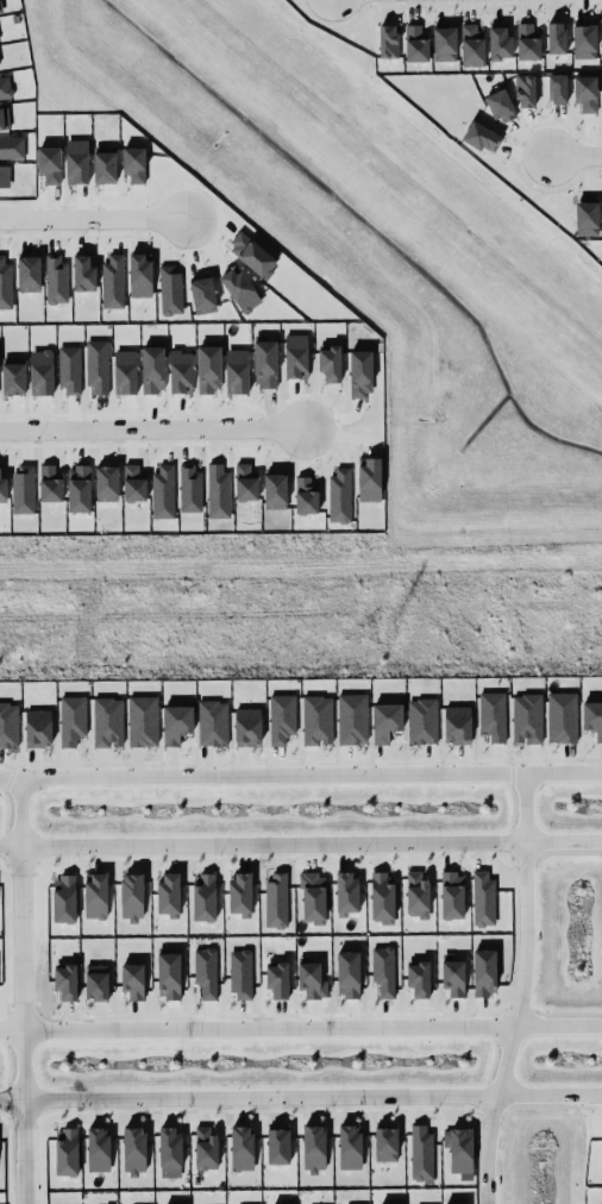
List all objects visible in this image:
building: (556, 37)
building: (584, 39)
building: (601, 39)
building: (388, 40)
building: (528, 42)
building: (415, 43)
building: (445, 43)
building: (500, 43)
building: (472, 44)
building: (5, 87)
building: (558, 88)
building: (526, 89)
building: (585, 92)
building: (501, 105)
building: (4, 118)
building: (481, 136)
building: (12, 146)
road: (576, 151)
building: (77, 161)
building: (50, 163)
building: (105, 163)
building: (134, 164)
building: (5, 175)
building: (587, 218)
road: (95, 221)
building: (252, 253)
building: (29, 272)
building: (83, 272)
building: (139, 274)
building: (56, 277)
building: (113, 281)
building: (6, 282)
building: (170, 288)
building: (240, 289)
building: (203, 294)
building: (296, 355)
building: (330, 362)
building: (265, 363)
building: (98, 364)
building: (209, 366)
building: (152, 368)
building: (70, 369)
building: (237, 370)
building: (42, 371)
building: (125, 371)
building: (181, 371)
building: (360, 371)
building: (13, 375)
road: (150, 432)
building: (369, 478)
building: (107, 482)
building: (245, 482)
building: (50, 483)
building: (133, 483)
building: (2, 487)
building: (190, 487)
building: (79, 488)
building: (24, 489)
building: (163, 490)
building: (218, 490)
building: (275, 490)
building: (306, 494)
building: (340, 495)
power tower: (395, 628)
building: (493, 715)
building: (562, 716)
building: (592, 716)
building: (282, 717)
building: (352, 717)
building: (527, 717)
building: (73, 719)
building: (316, 719)
building: (108, 720)
building: (143, 720)
building: (422, 720)
building: (385, 721)
building: (176, 722)
building: (213, 722)
building: (8, 723)
building: (457, 723)
building: (247, 726)
building: (38, 727)
road: (301, 788)
road: (300, 839)
building: (346, 892)
building: (169, 893)
building: (240, 893)
building: (418, 893)
building: (452, 893)
building: (95, 895)
building: (132, 896)
building: (203, 896)
building: (64, 897)
building: (313, 897)
building: (382, 897)
building: (483, 897)
building: (276, 899)
building: (383, 970)
building: (206, 971)
building: (484, 971)
building: (242, 973)
building: (347, 973)
building: (169, 974)
building: (453, 977)
building: (311, 978)
building: (419, 978)
building: (133, 979)
building: (277, 979)
building: (65, 980)
building: (96, 980)
road: (515, 996)
road: (19, 997)
road: (300, 1029)
road: (300, 1093)
building: (385, 1143)
building: (278, 1145)
building: (170, 1146)
building: (350, 1146)
building: (242, 1147)
building: (314, 1147)
building: (98, 1148)
building: (206, 1148)
building: (459, 1148)
building: (133, 1149)
building: (67, 1150)
building: (421, 1152)
building: (271, 1203)
building: (390, 1203)
building: (600, 1203)

